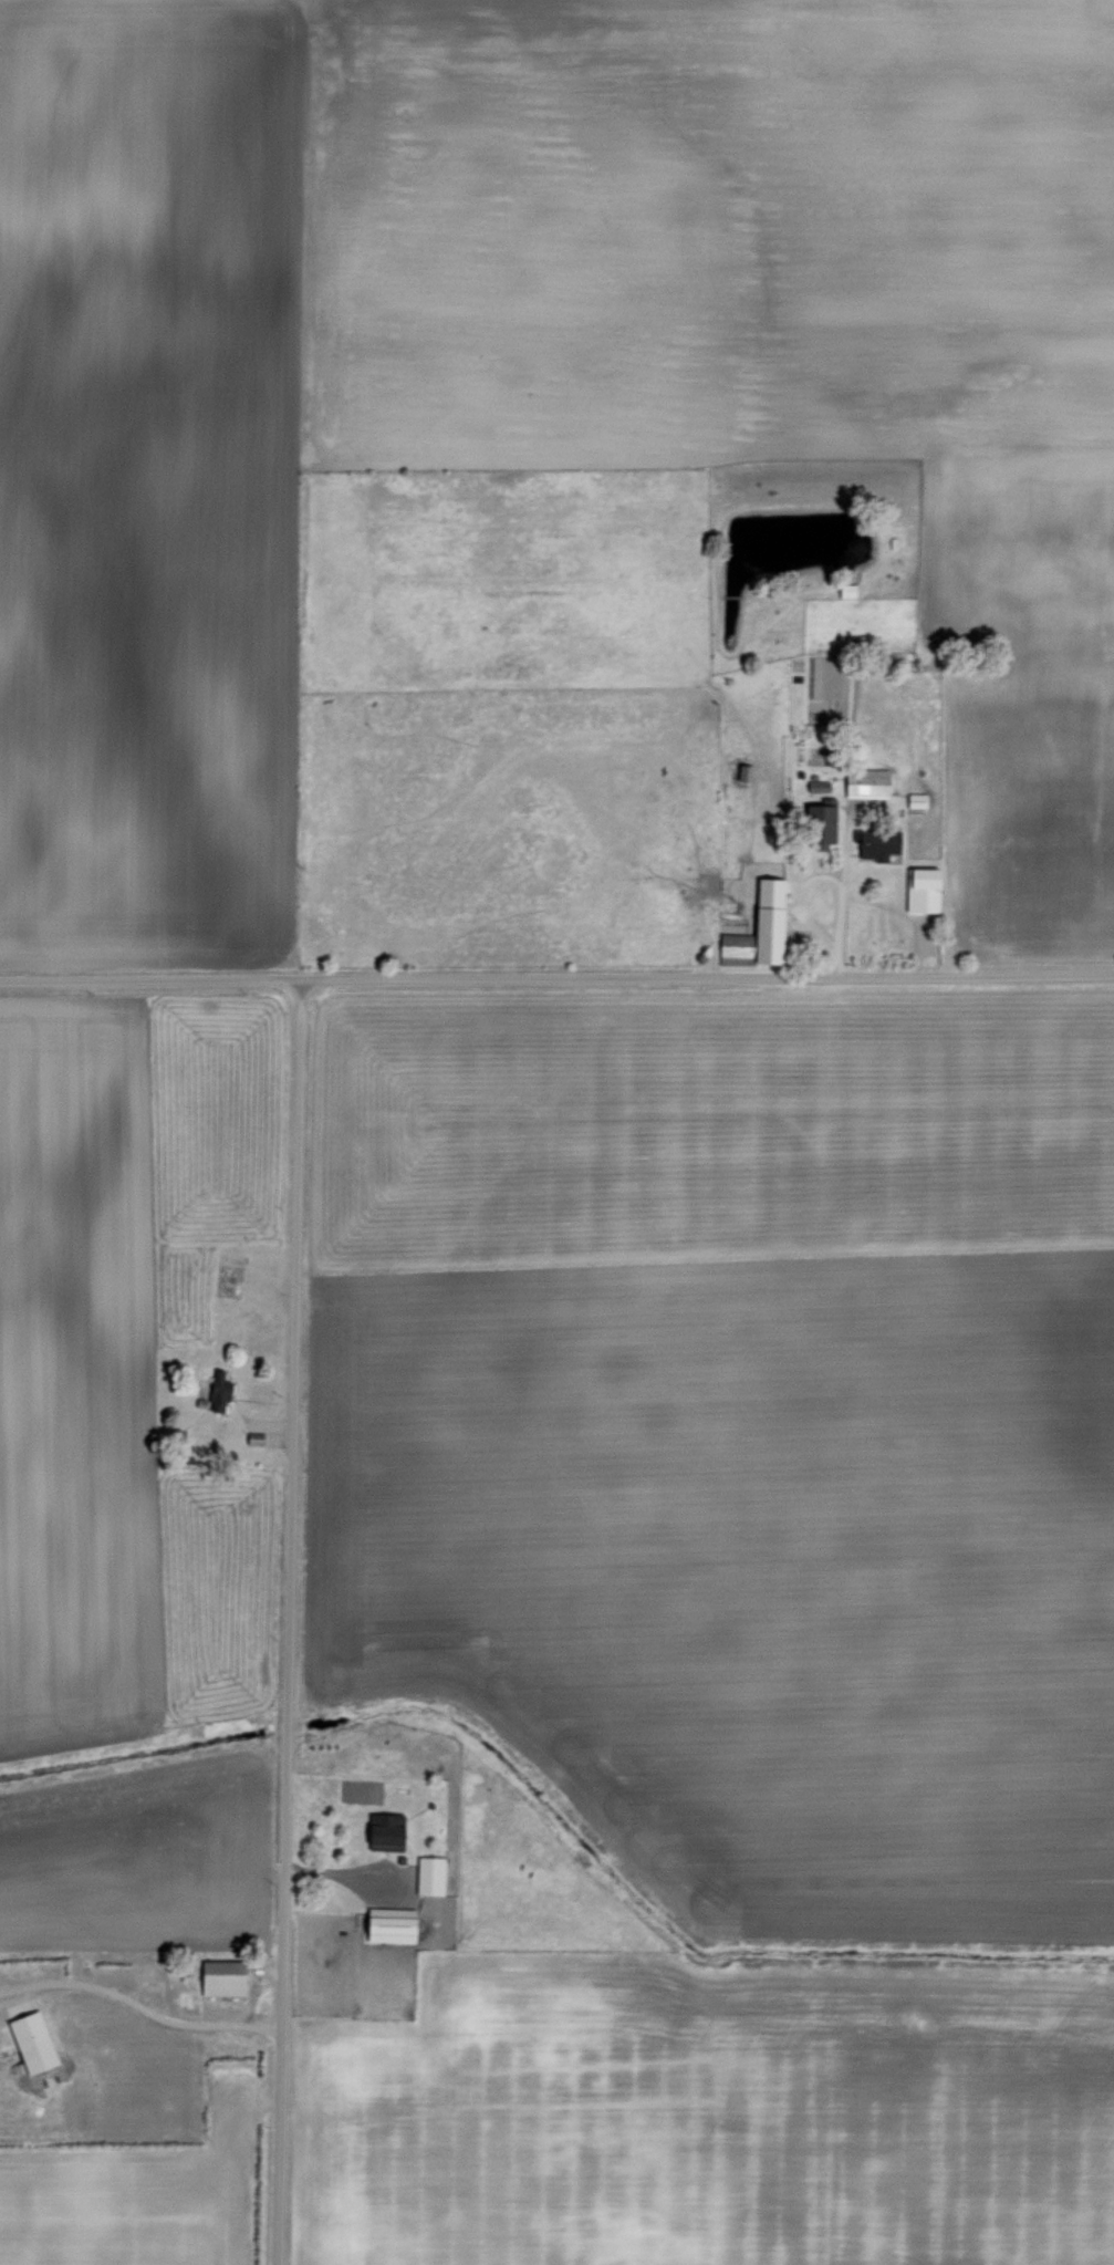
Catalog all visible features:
building: (742, 772)
building: (864, 782)
building: (915, 800)
building: (815, 823)
building: (920, 890)
road: (837, 906)
building: (757, 928)
road: (556, 973)
building: (217, 1390)
road: (284, 1620)
building: (382, 1830)
road: (350, 1869)
building: (428, 1873)
building: (387, 1923)
building: (219, 1976)
road: (145, 2005)
building: (29, 2040)

